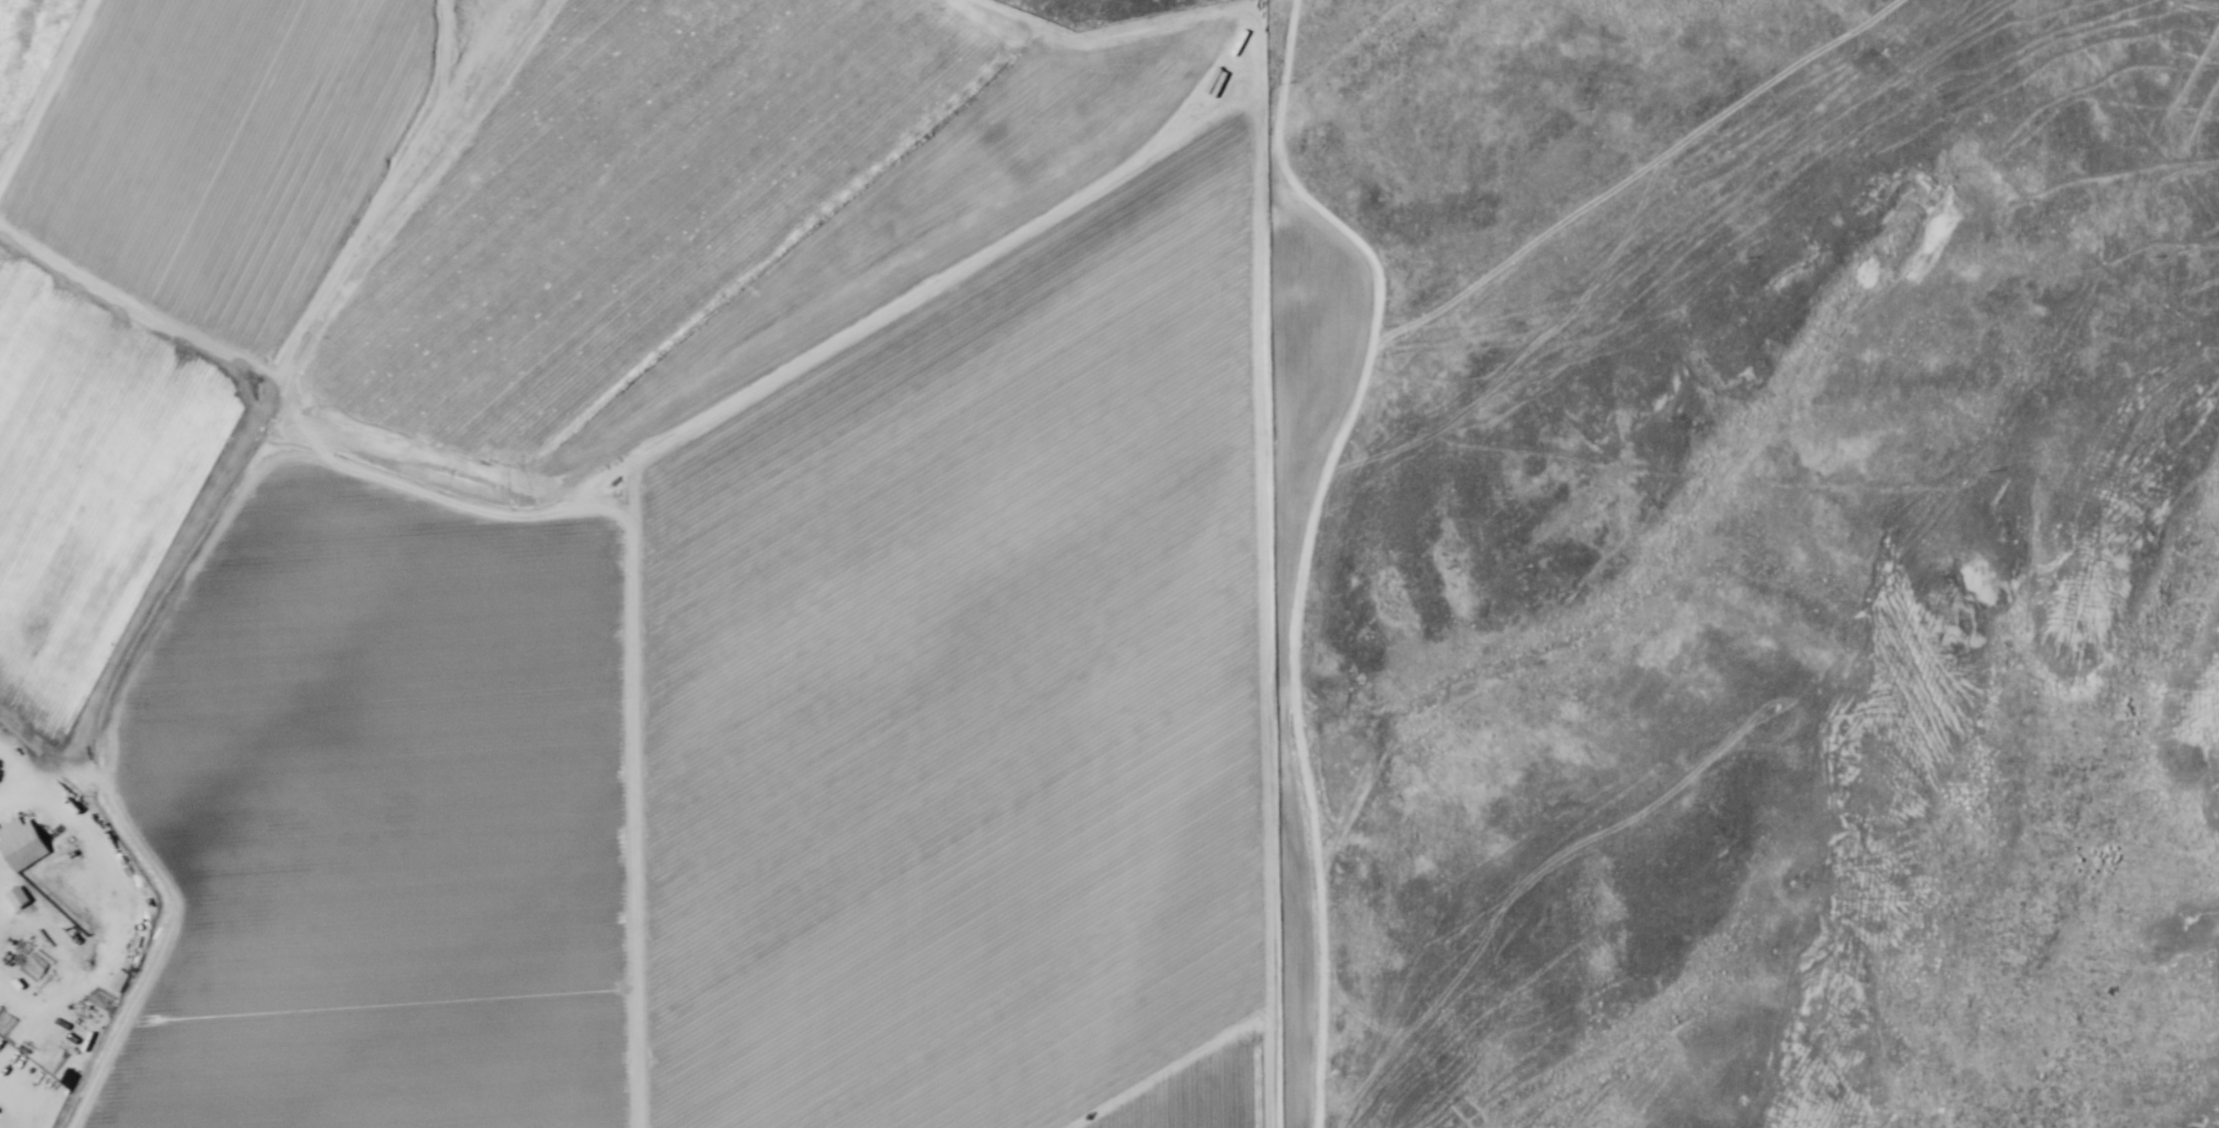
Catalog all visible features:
crop: (612, 588)
building: (19, 846)

